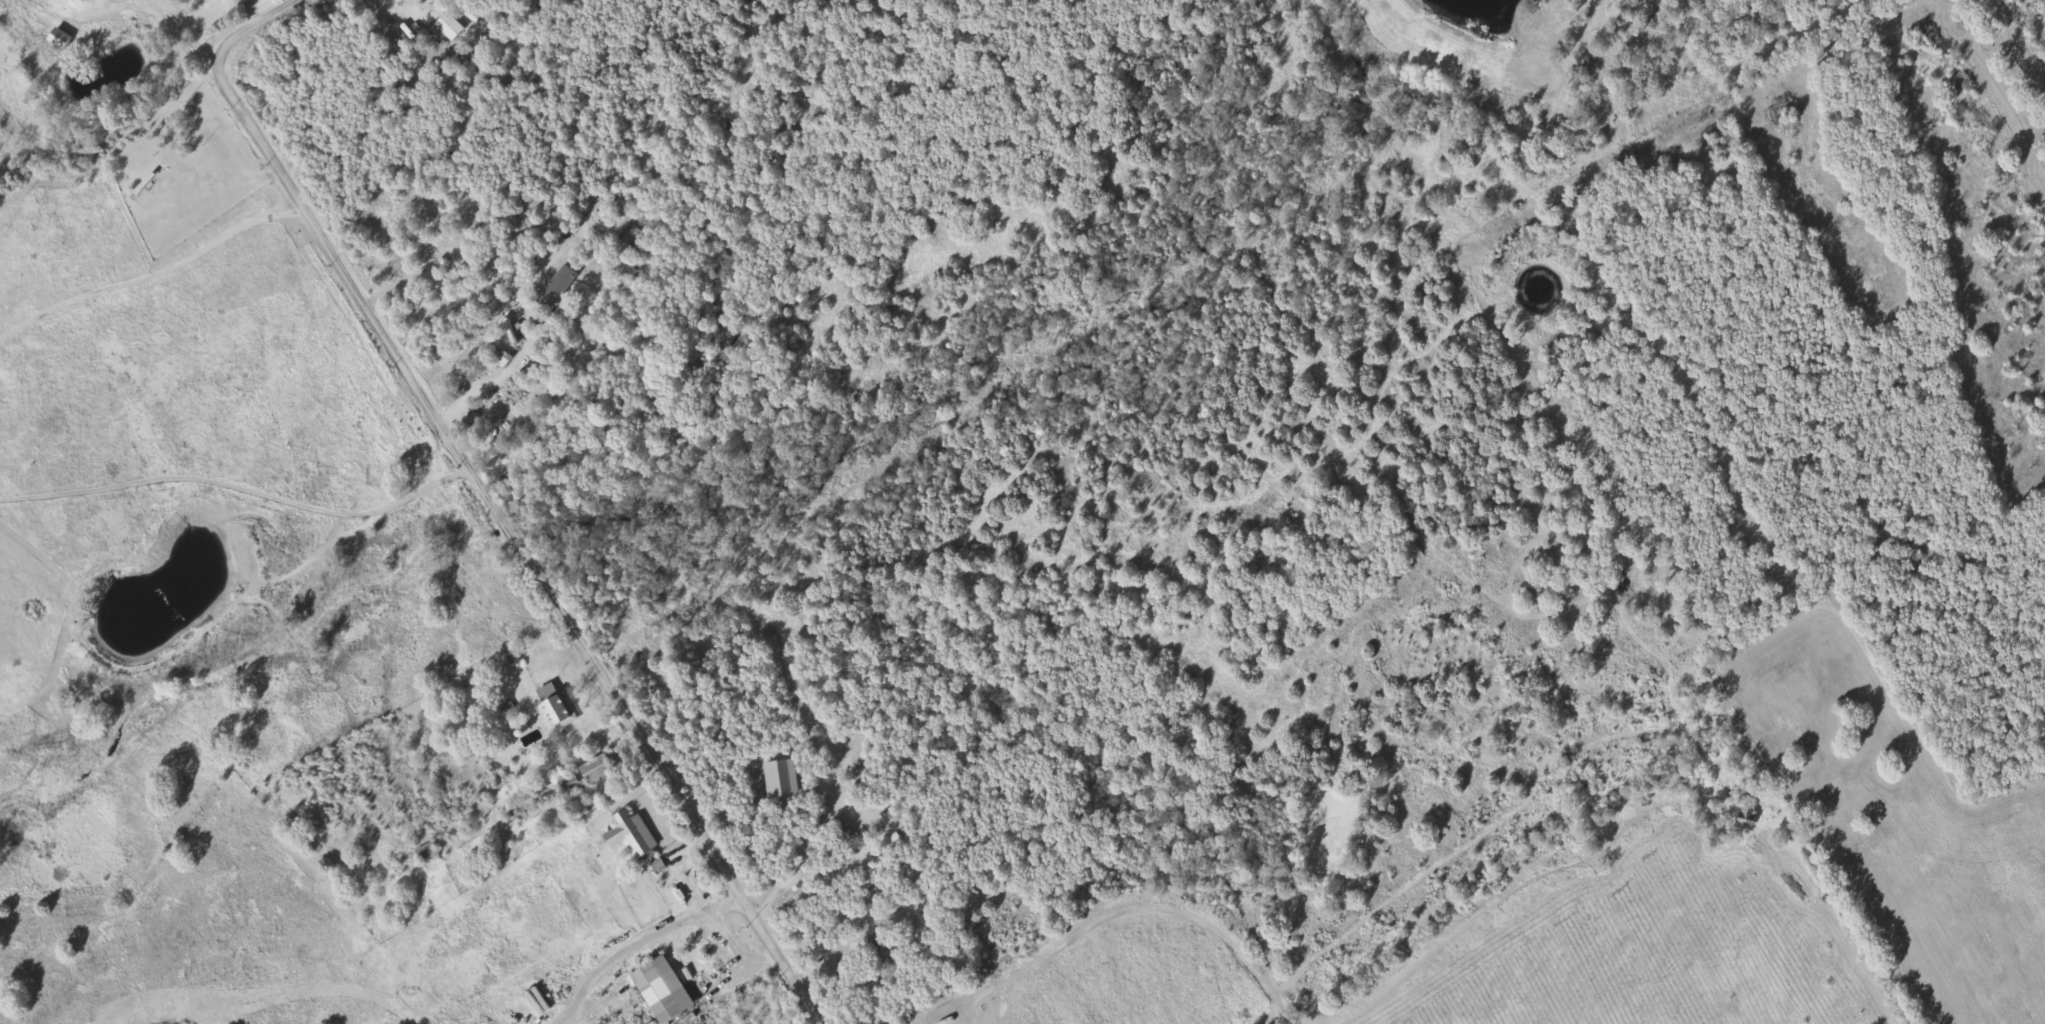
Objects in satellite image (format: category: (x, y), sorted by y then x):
building: (61, 41)
building: (154, 191)
road: (150, 273)
building: (552, 288)
road: (484, 495)
building: (555, 707)
building: (594, 770)
building: (777, 779)
building: (628, 834)
road: (1839, 977)
building: (658, 990)

